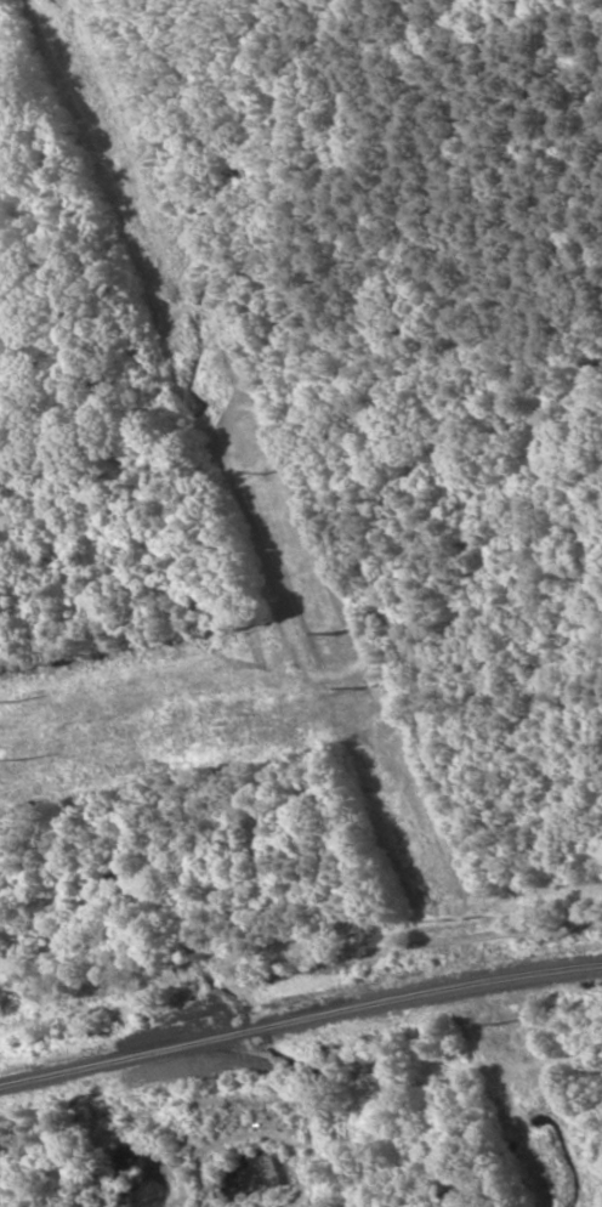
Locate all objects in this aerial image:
power tower: (259, 477)
power tower: (493, 1025)
railway: (300, 1039)

